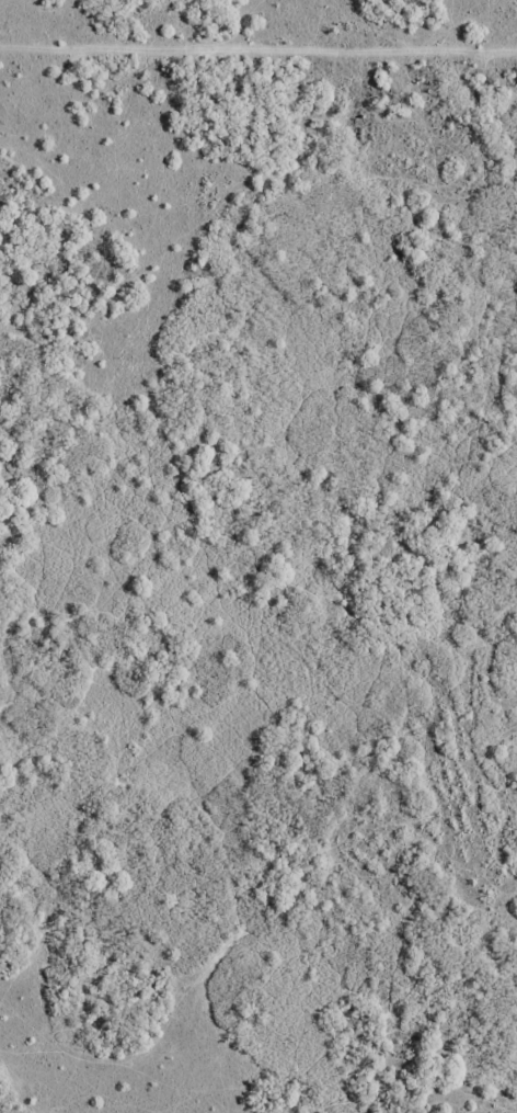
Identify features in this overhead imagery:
road: (258, 86)

